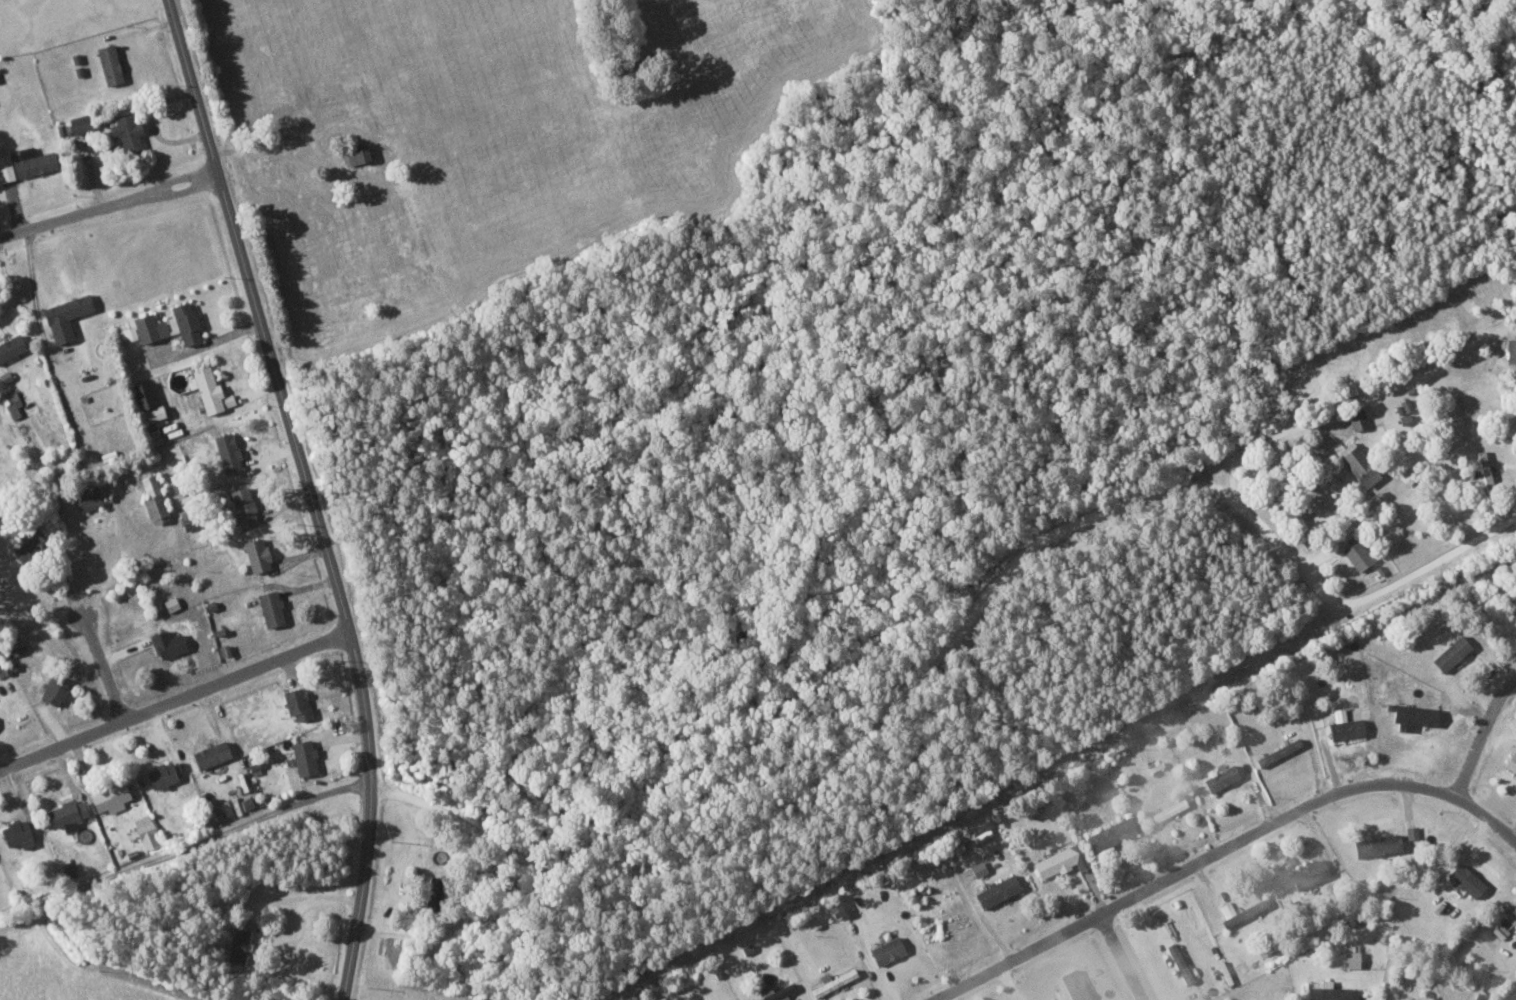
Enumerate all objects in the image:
building: (108, 64)
building: (78, 124)
building: (125, 133)
road: (281, 144)
building: (359, 155)
building: (32, 163)
building: (5, 167)
road: (109, 205)
building: (63, 317)
building: (185, 323)
building: (144, 329)
building: (11, 347)
building: (1511, 350)
building: (4, 378)
building: (209, 392)
building: (141, 395)
building: (11, 404)
building: (1405, 405)
building: (150, 414)
building: (1403, 415)
building: (1357, 418)
road: (1270, 435)
building: (227, 452)
building: (1358, 465)
building: (1484, 468)
road: (311, 494)
building: (87, 499)
building: (152, 500)
building: (241, 505)
road: (1332, 546)
building: (255, 553)
building: (1357, 555)
road: (1515, 597)
road: (1515, 600)
building: (170, 603)
building: (270, 607)
road: (962, 633)
road: (1342, 640)
building: (165, 643)
building: (15, 649)
road: (93, 652)
building: (1451, 652)
building: (1, 671)
building: (51, 689)
road: (175, 699)
building: (296, 703)
building: (1413, 715)
building: (1346, 728)
road: (1487, 737)
building: (1278, 751)
building: (210, 753)
building: (303, 756)
building: (1511, 761)
building: (160, 774)
building: (1221, 777)
building: (1515, 780)
building: (108, 796)
building: (1032, 807)
building: (1167, 810)
building: (64, 814)
road: (1487, 821)
building: (144, 831)
building: (15, 833)
building: (1110, 833)
building: (983, 835)
building: (1377, 844)
road: (185, 852)
building: (1059, 860)
road: (1192, 867)
building: (978, 868)
building: (67, 870)
building: (1308, 873)
building: (1466, 879)
building: (436, 889)
building: (997, 890)
building: (1227, 907)
building: (1244, 912)
building: (1509, 914)
building: (1500, 930)
building: (237, 944)
building: (1268, 946)
building: (887, 950)
building: (1349, 955)
road: (1125, 958)
building: (1181, 963)
building: (832, 981)
building: (1075, 984)
building: (1327, 991)
building: (776, 992)

